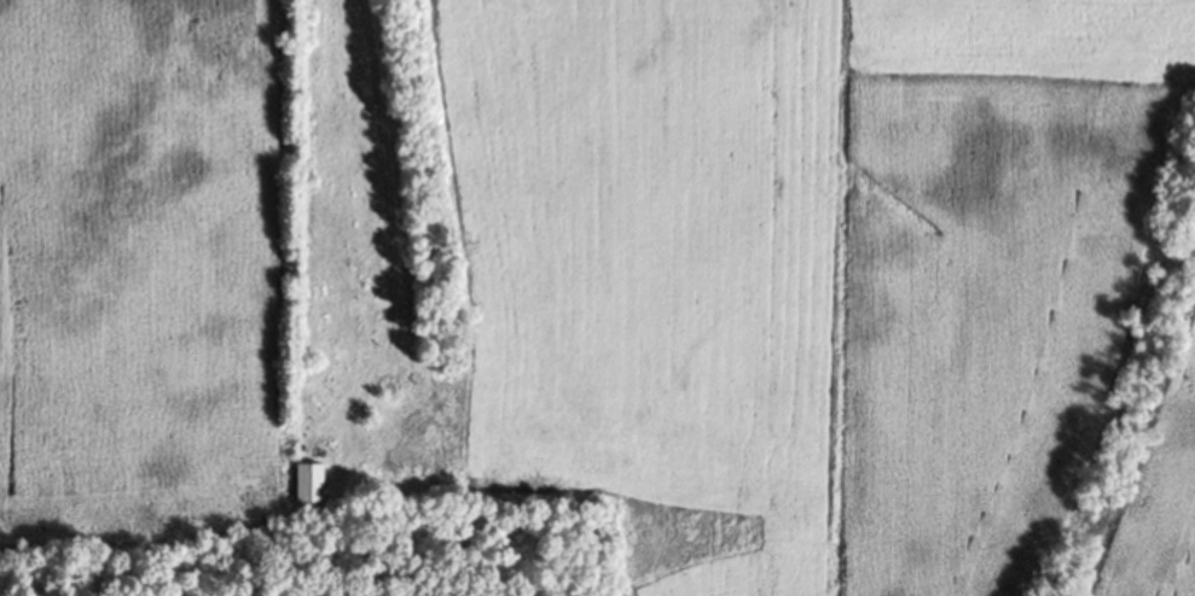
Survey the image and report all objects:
building: (318, 489)

